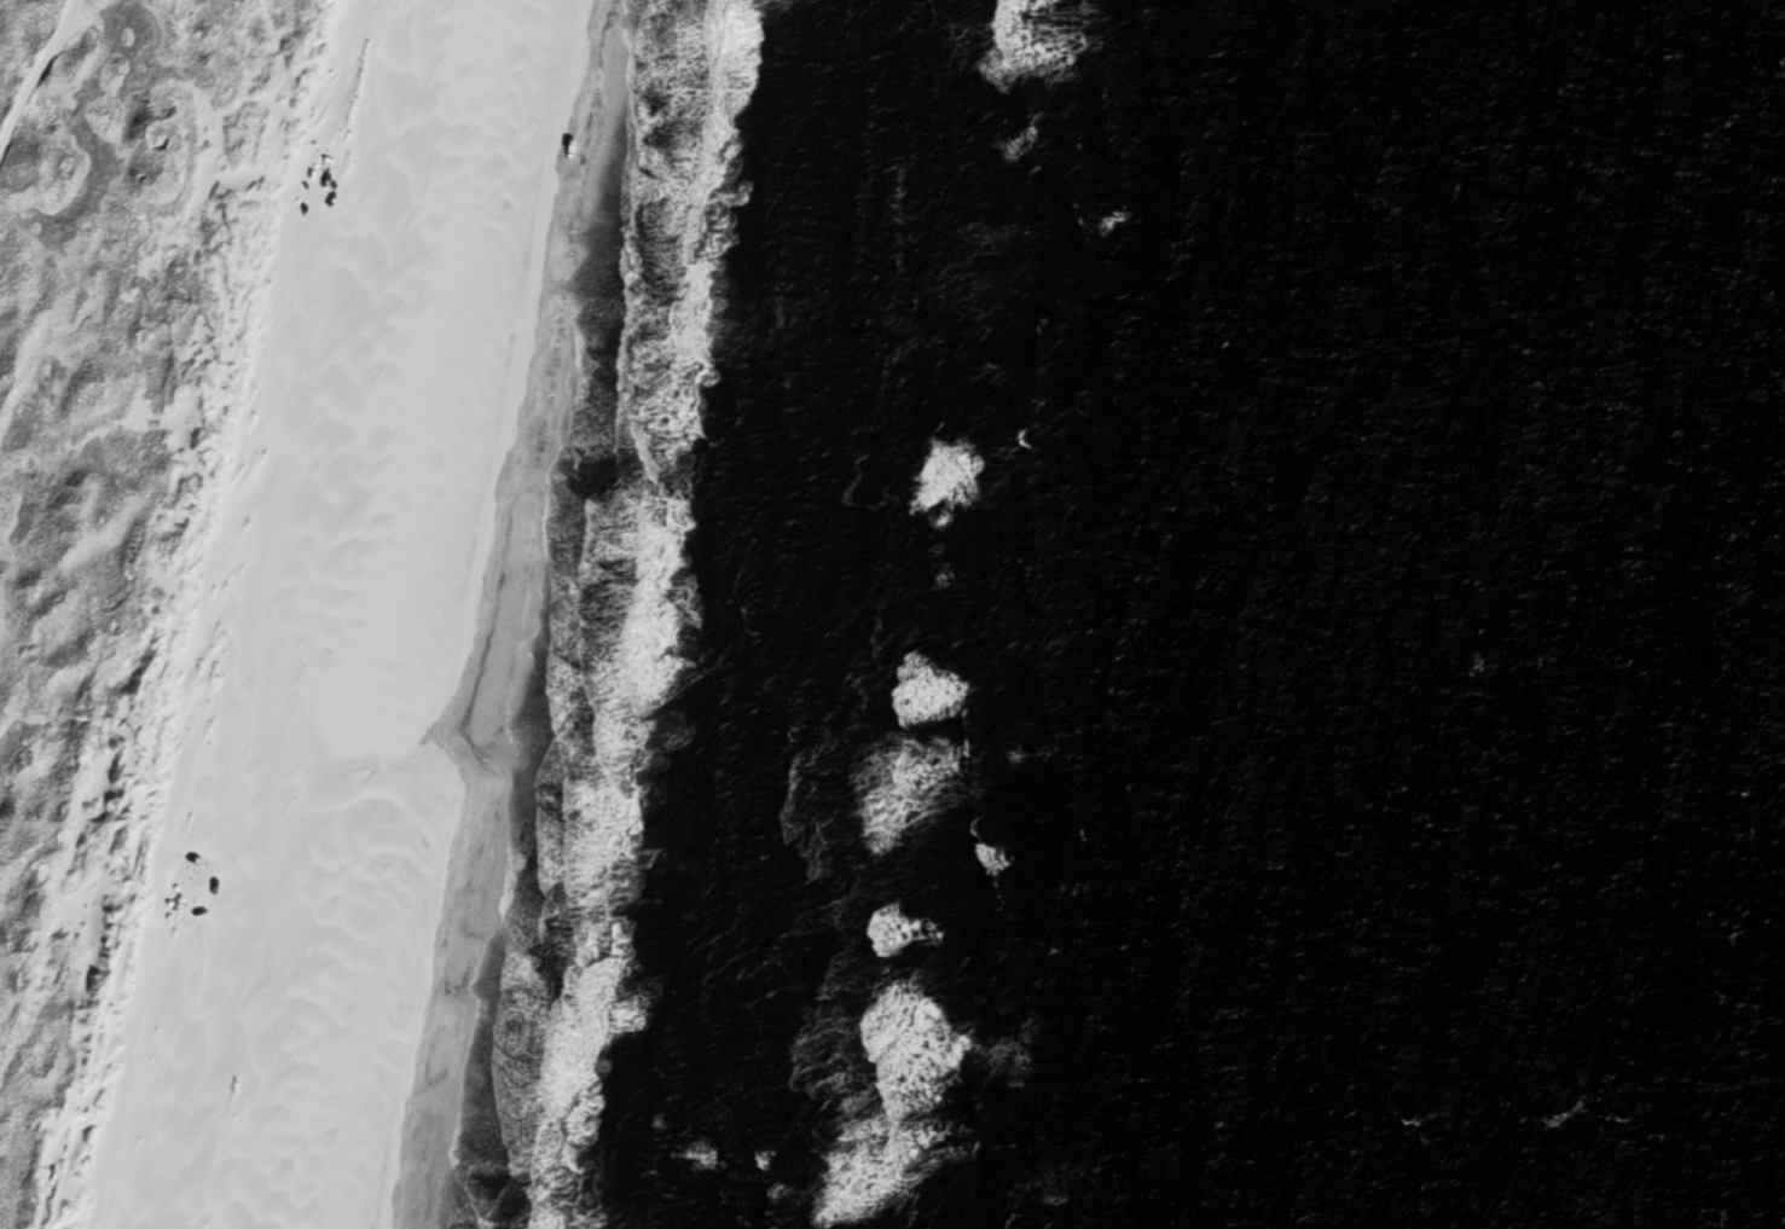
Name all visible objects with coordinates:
road: (34, 71)
road: (42, 717)
building: (104, 738)
building: (62, 883)

